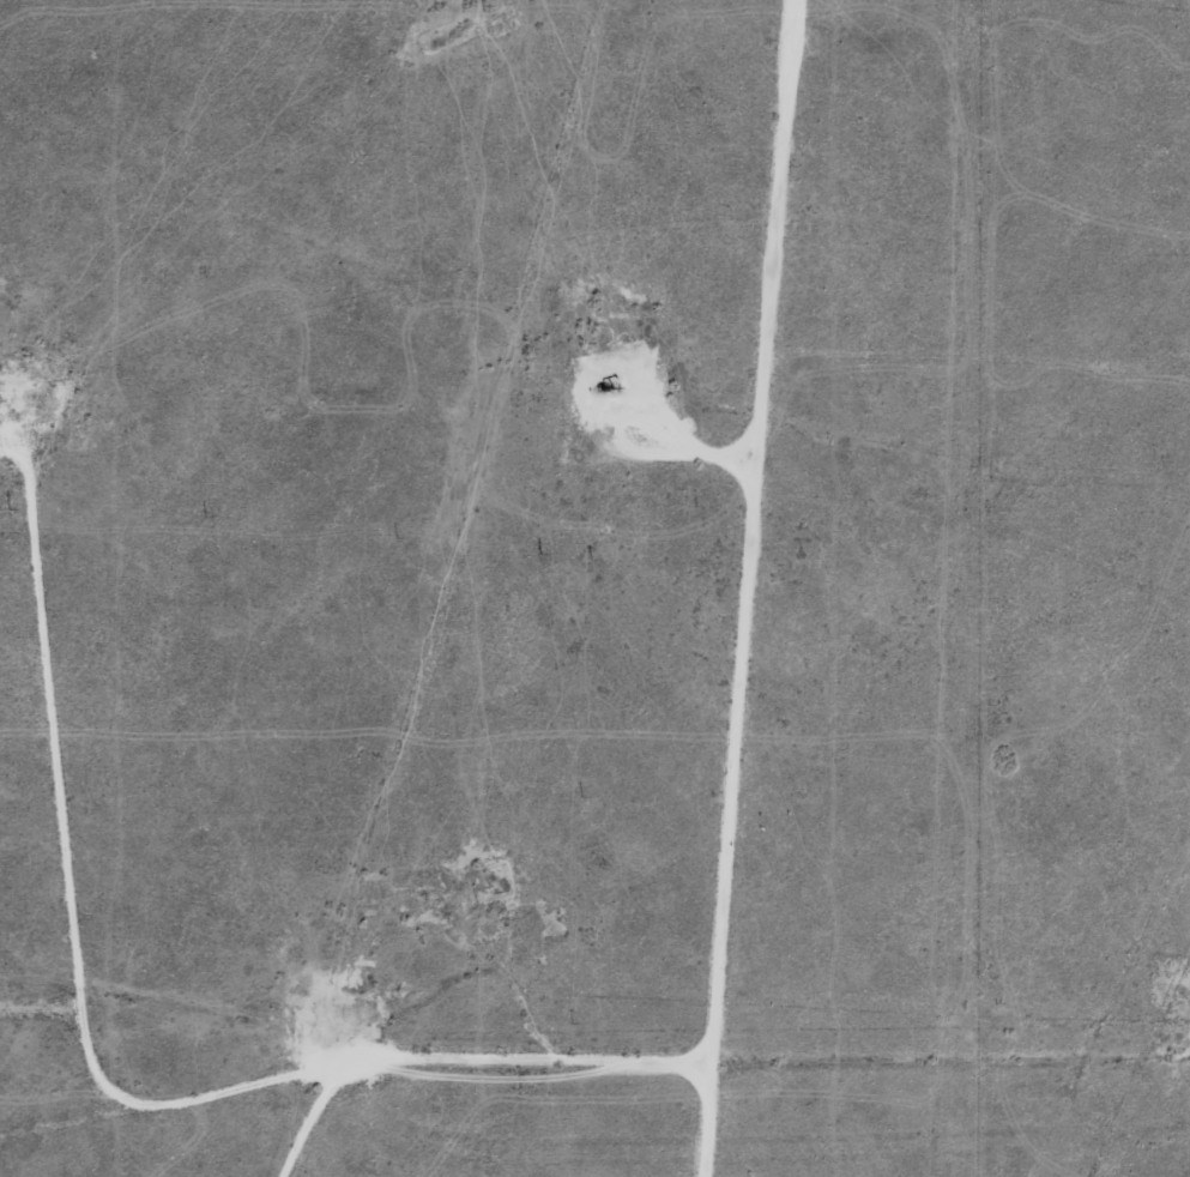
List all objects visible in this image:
road: (771, 588)
road: (113, 1101)
road: (304, 1136)

